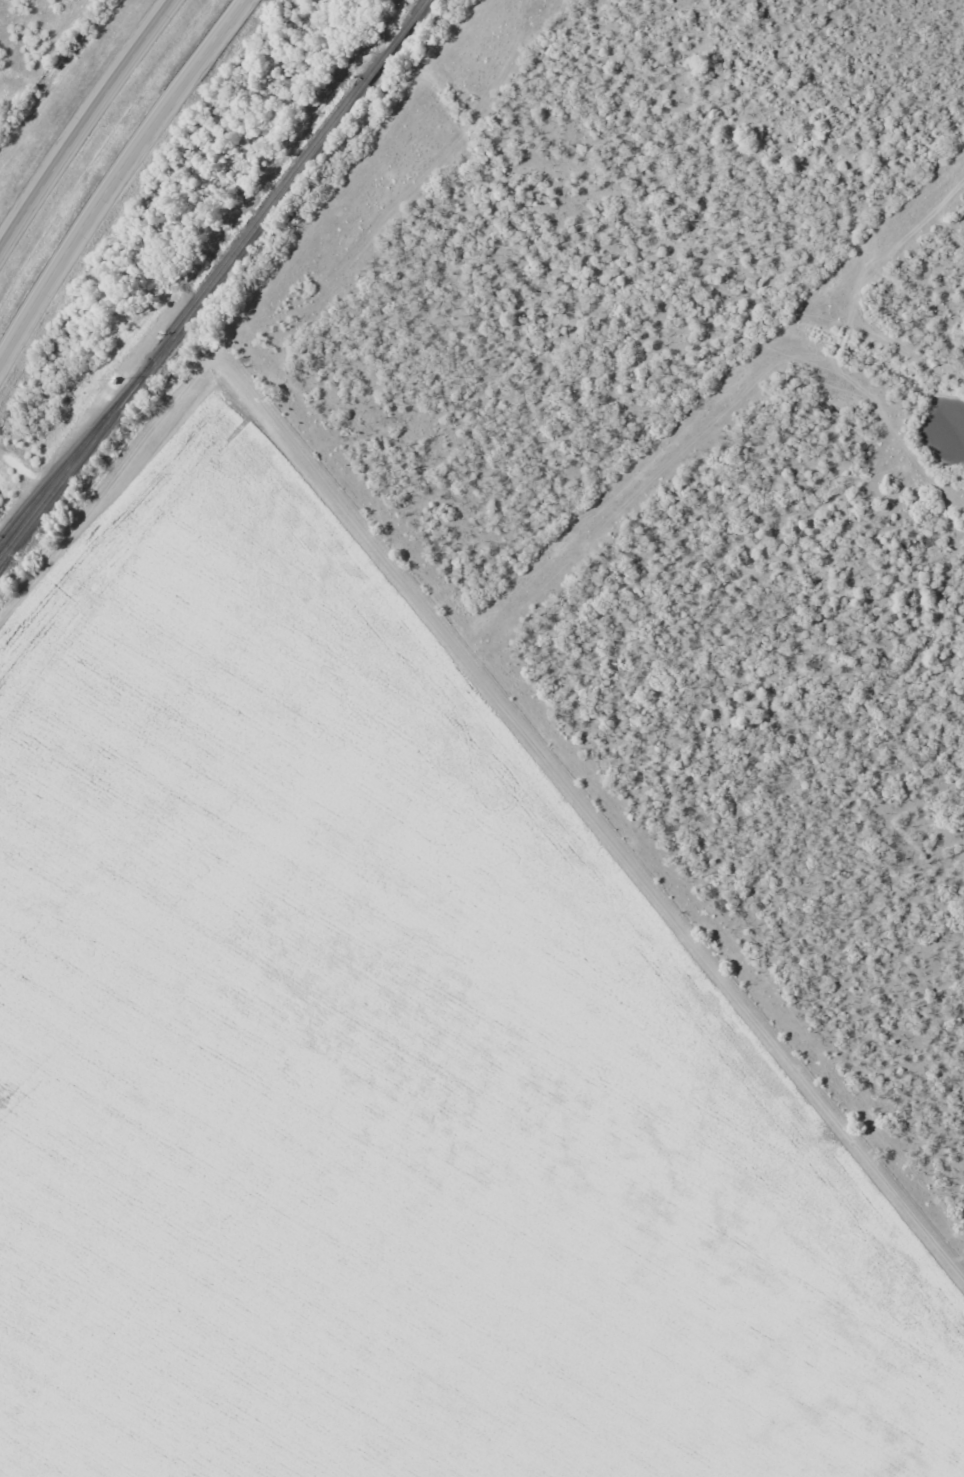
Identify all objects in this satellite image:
road: (86, 126)
road: (122, 189)
railway: (212, 280)

